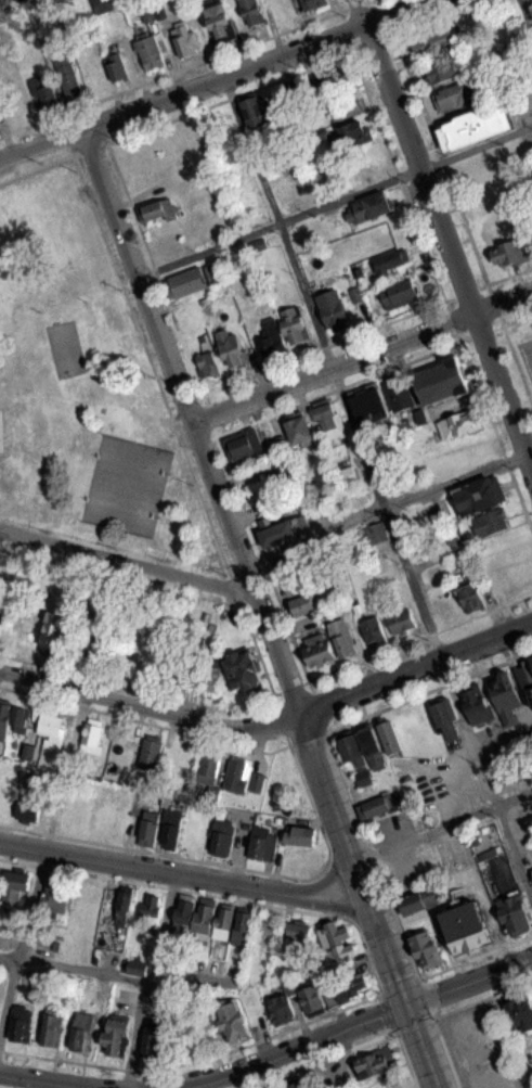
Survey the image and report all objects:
building: (310, 4)
building: (252, 12)
road: (525, 15)
building: (220, 23)
building: (185, 38)
building: (148, 49)
building: (116, 66)
road: (182, 66)
building: (444, 72)
building: (68, 75)
building: (96, 75)
road: (213, 78)
road: (244, 91)
building: (43, 92)
building: (454, 95)
building: (475, 128)
building: (350, 135)
building: (484, 167)
road: (335, 200)
road: (455, 204)
building: (371, 207)
building: (158, 210)
road: (444, 234)
building: (509, 240)
building: (391, 260)
road: (430, 267)
building: (195, 279)
building: (400, 294)
building: (333, 309)
building: (284, 330)
road: (348, 335)
park: (64, 347)
building: (231, 348)
road: (361, 354)
building: (208, 364)
road: (358, 380)
building: (441, 382)
park: (81, 387)
building: (368, 404)
road: (205, 410)
road: (191, 419)
building: (328, 420)
road: (173, 423)
building: (460, 423)
building: (299, 430)
building: (246, 445)
building: (469, 452)
park: (130, 464)
building: (264, 486)
road: (376, 489)
building: (480, 495)
road: (386, 504)
park: (119, 508)
building: (491, 523)
building: (283, 532)
road: (468, 543)
road: (126, 562)
building: (294, 572)
building: (472, 598)
building: (302, 605)
building: (402, 622)
building: (1, 623)
building: (373, 631)
building: (53, 633)
road: (419, 636)
building: (329, 644)
building: (135, 660)
building: (529, 665)
road: (414, 666)
building: (242, 669)
building: (211, 676)
road: (307, 680)
road: (135, 687)
road: (428, 688)
building: (506, 699)
building: (478, 704)
road: (148, 705)
building: (444, 718)
building: (12, 719)
road: (143, 720)
building: (50, 724)
road: (502, 728)
building: (390, 737)
building: (91, 738)
building: (372, 748)
building: (151, 751)
building: (351, 752)
building: (209, 767)
building: (505, 767)
building: (243, 776)
building: (28, 804)
road: (442, 824)
building: (161, 829)
building: (300, 835)
building: (222, 836)
building: (262, 843)
road: (161, 853)
road: (371, 853)
road: (322, 871)
road: (183, 875)
building: (16, 886)
road: (170, 886)
building: (56, 896)
road: (368, 900)
building: (419, 901)
building: (124, 905)
building: (151, 910)
building: (515, 916)
building: (215, 920)
building: (463, 929)
building: (298, 937)
road: (21, 938)
building: (338, 947)
building: (426, 948)
road: (475, 955)
road: (117, 975)
road: (416, 977)
road: (147, 981)
road: (468, 981)
building: (346, 989)
road: (481, 997)
building: (312, 1000)
traffic signals: (405, 1004)
building: (282, 1009)
building: (520, 1010)
building: (233, 1023)
building: (23, 1025)
building: (52, 1026)
building: (82, 1031)
building: (117, 1035)
building: (157, 1039)
road: (290, 1049)
road: (444, 1052)
road: (404, 1058)
road: (315, 1059)
road: (193, 1060)
building: (376, 1063)
building: (333, 1076)
road: (50, 1080)
building: (297, 1084)
building: (388, 1084)

